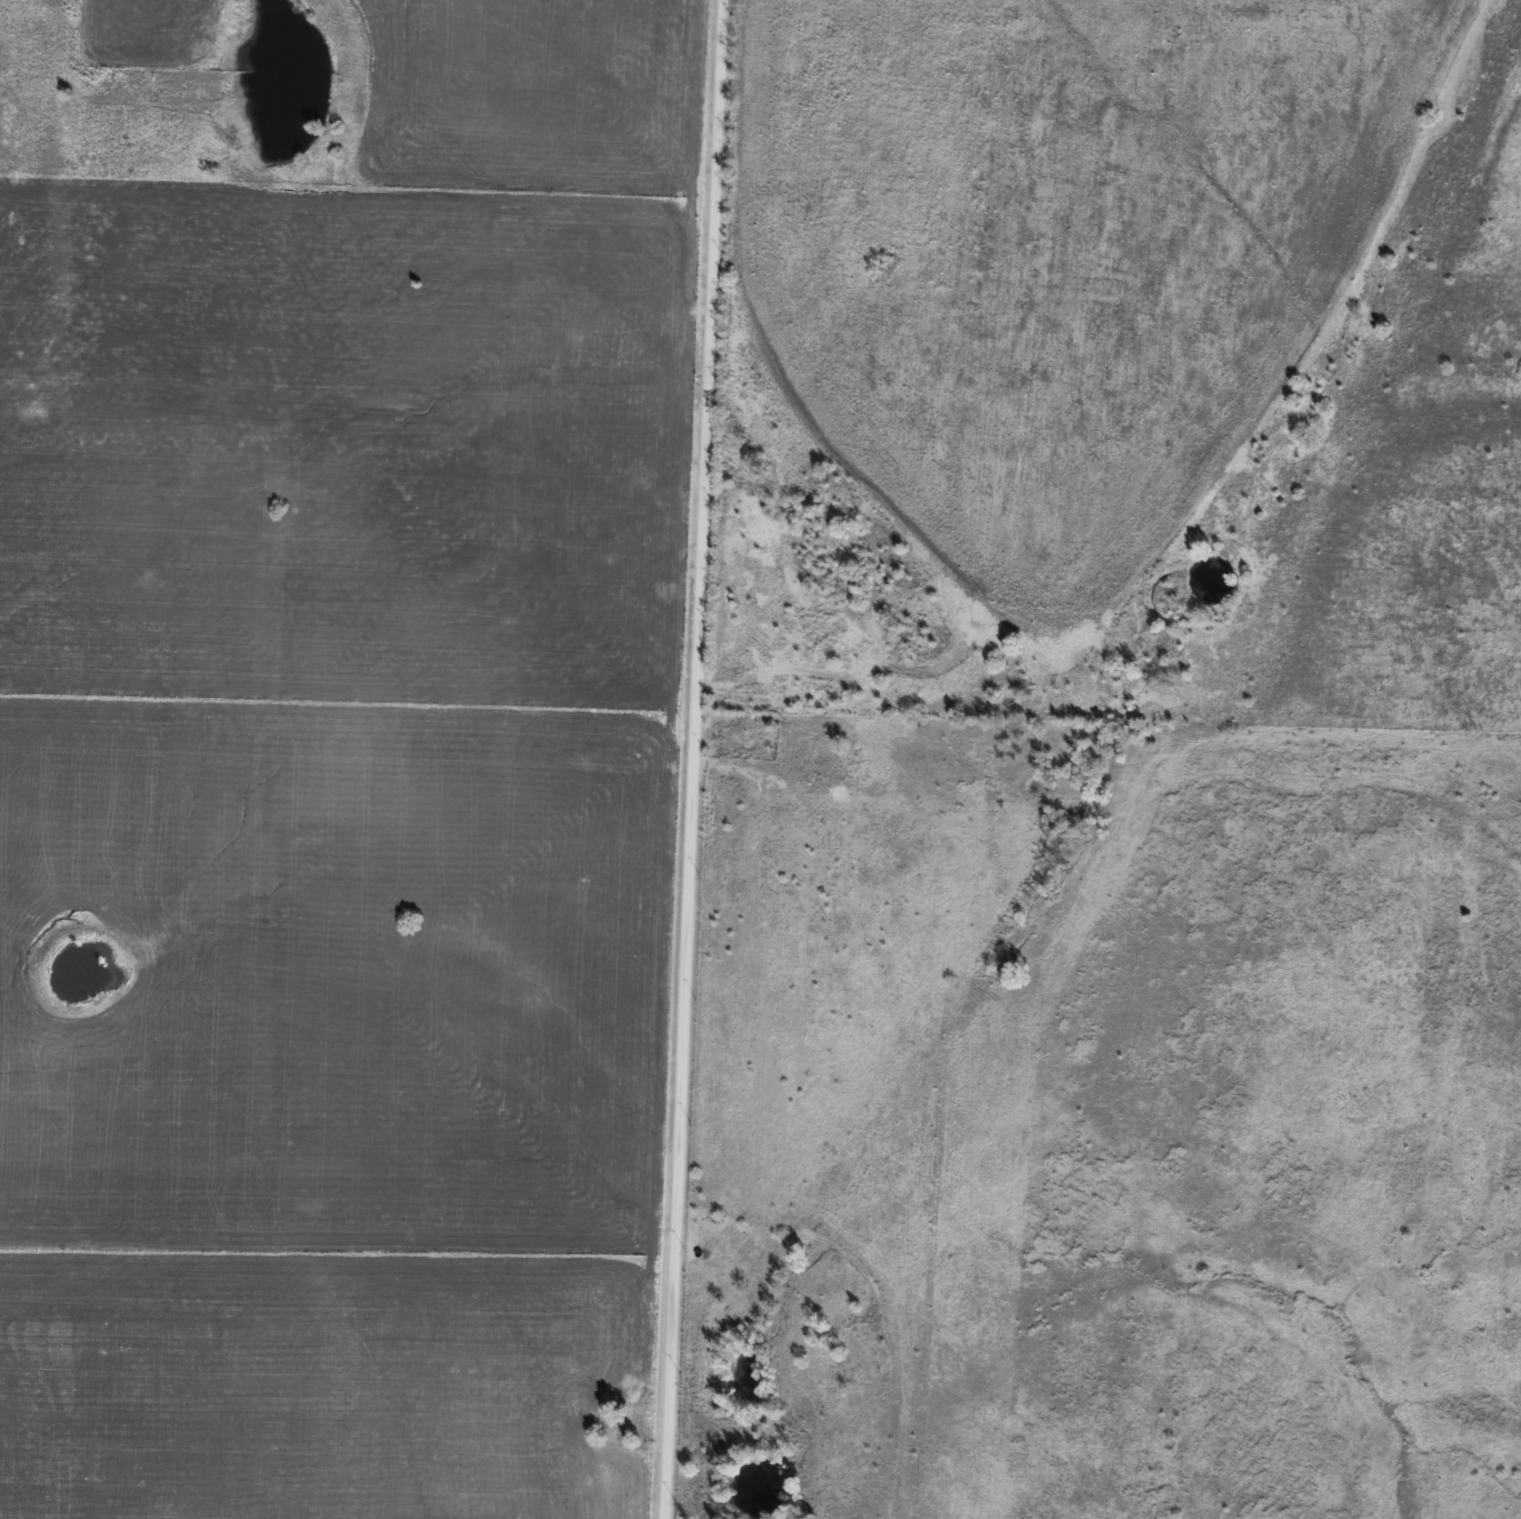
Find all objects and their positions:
road: (689, 759)

